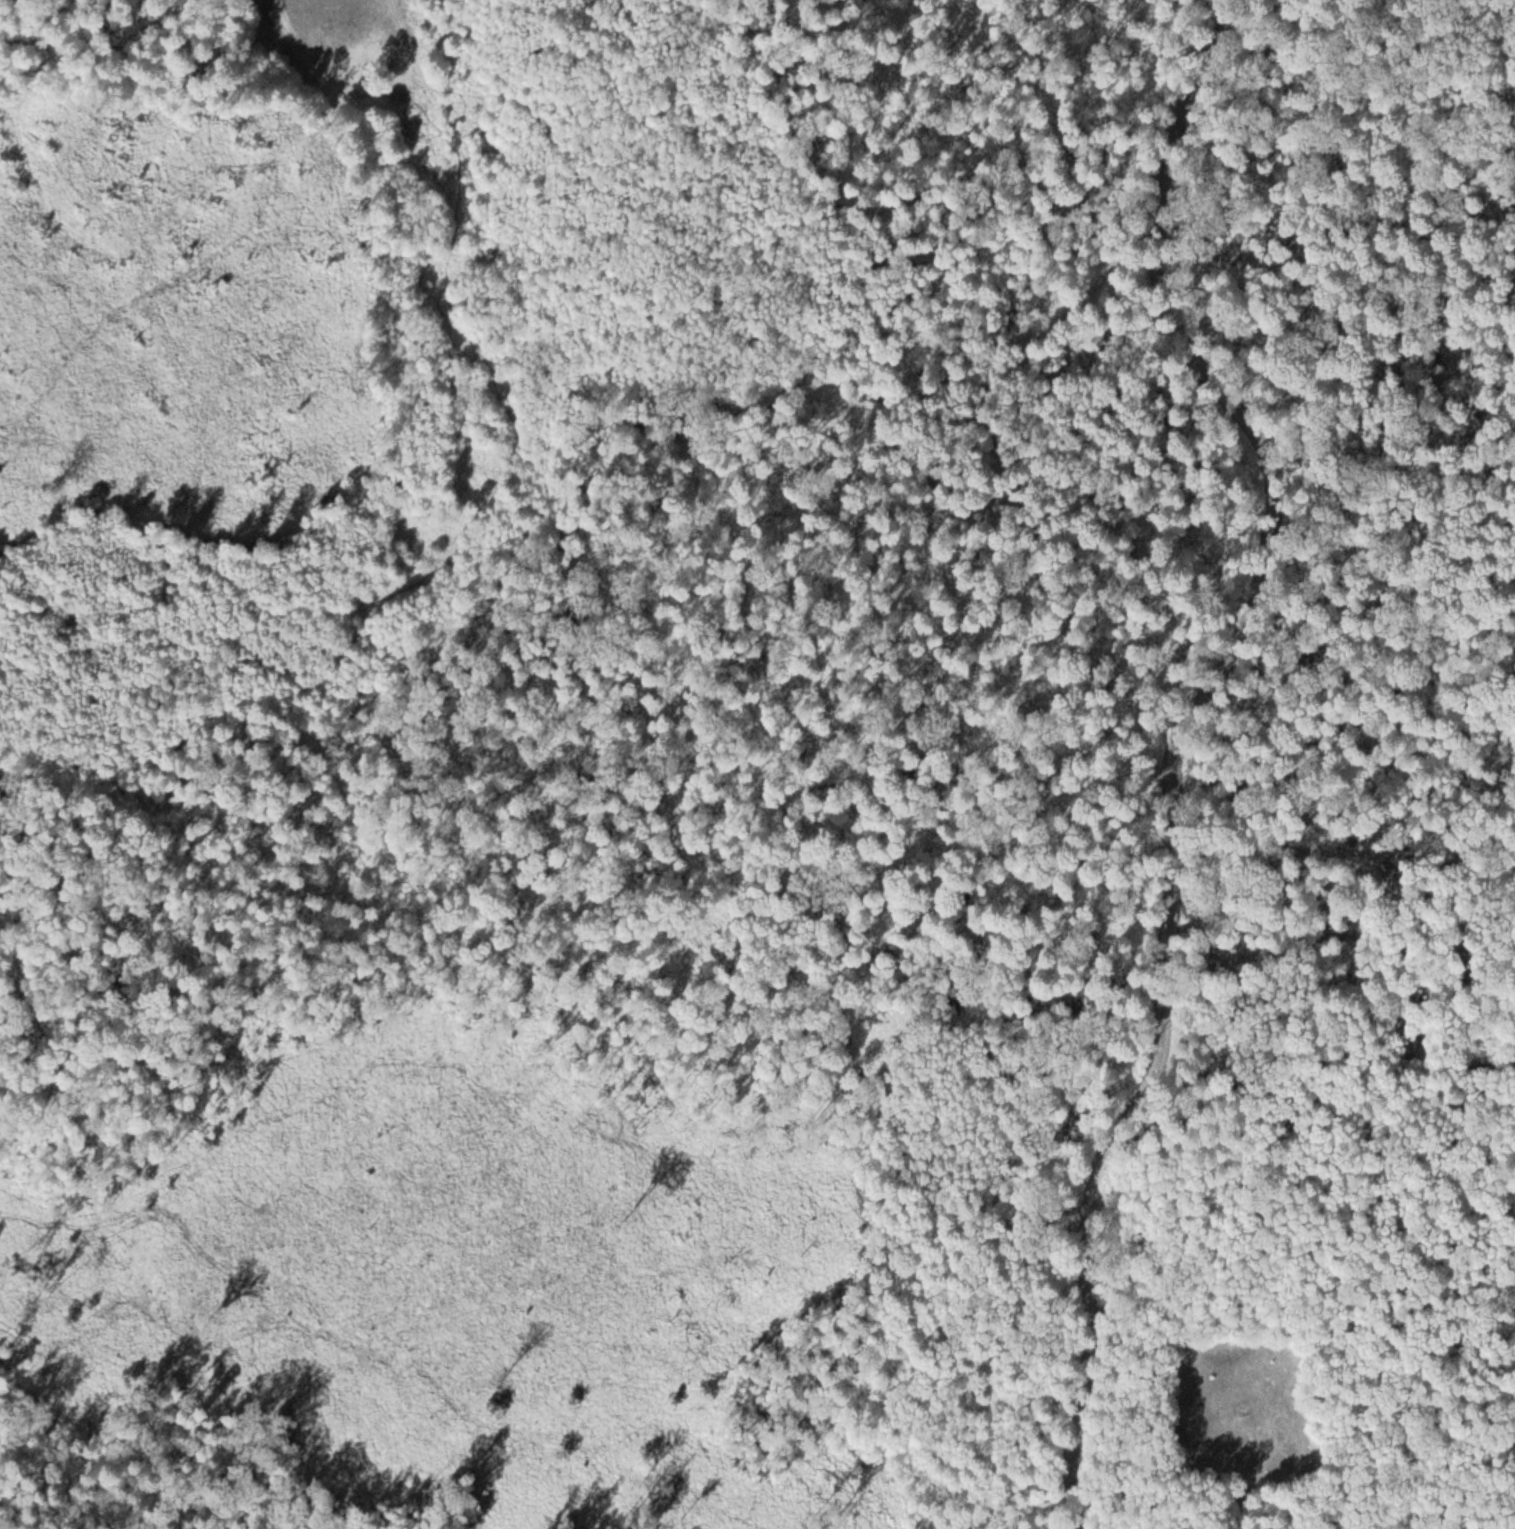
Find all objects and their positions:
road: (400, 22)
road: (1190, 738)
road: (733, 865)

